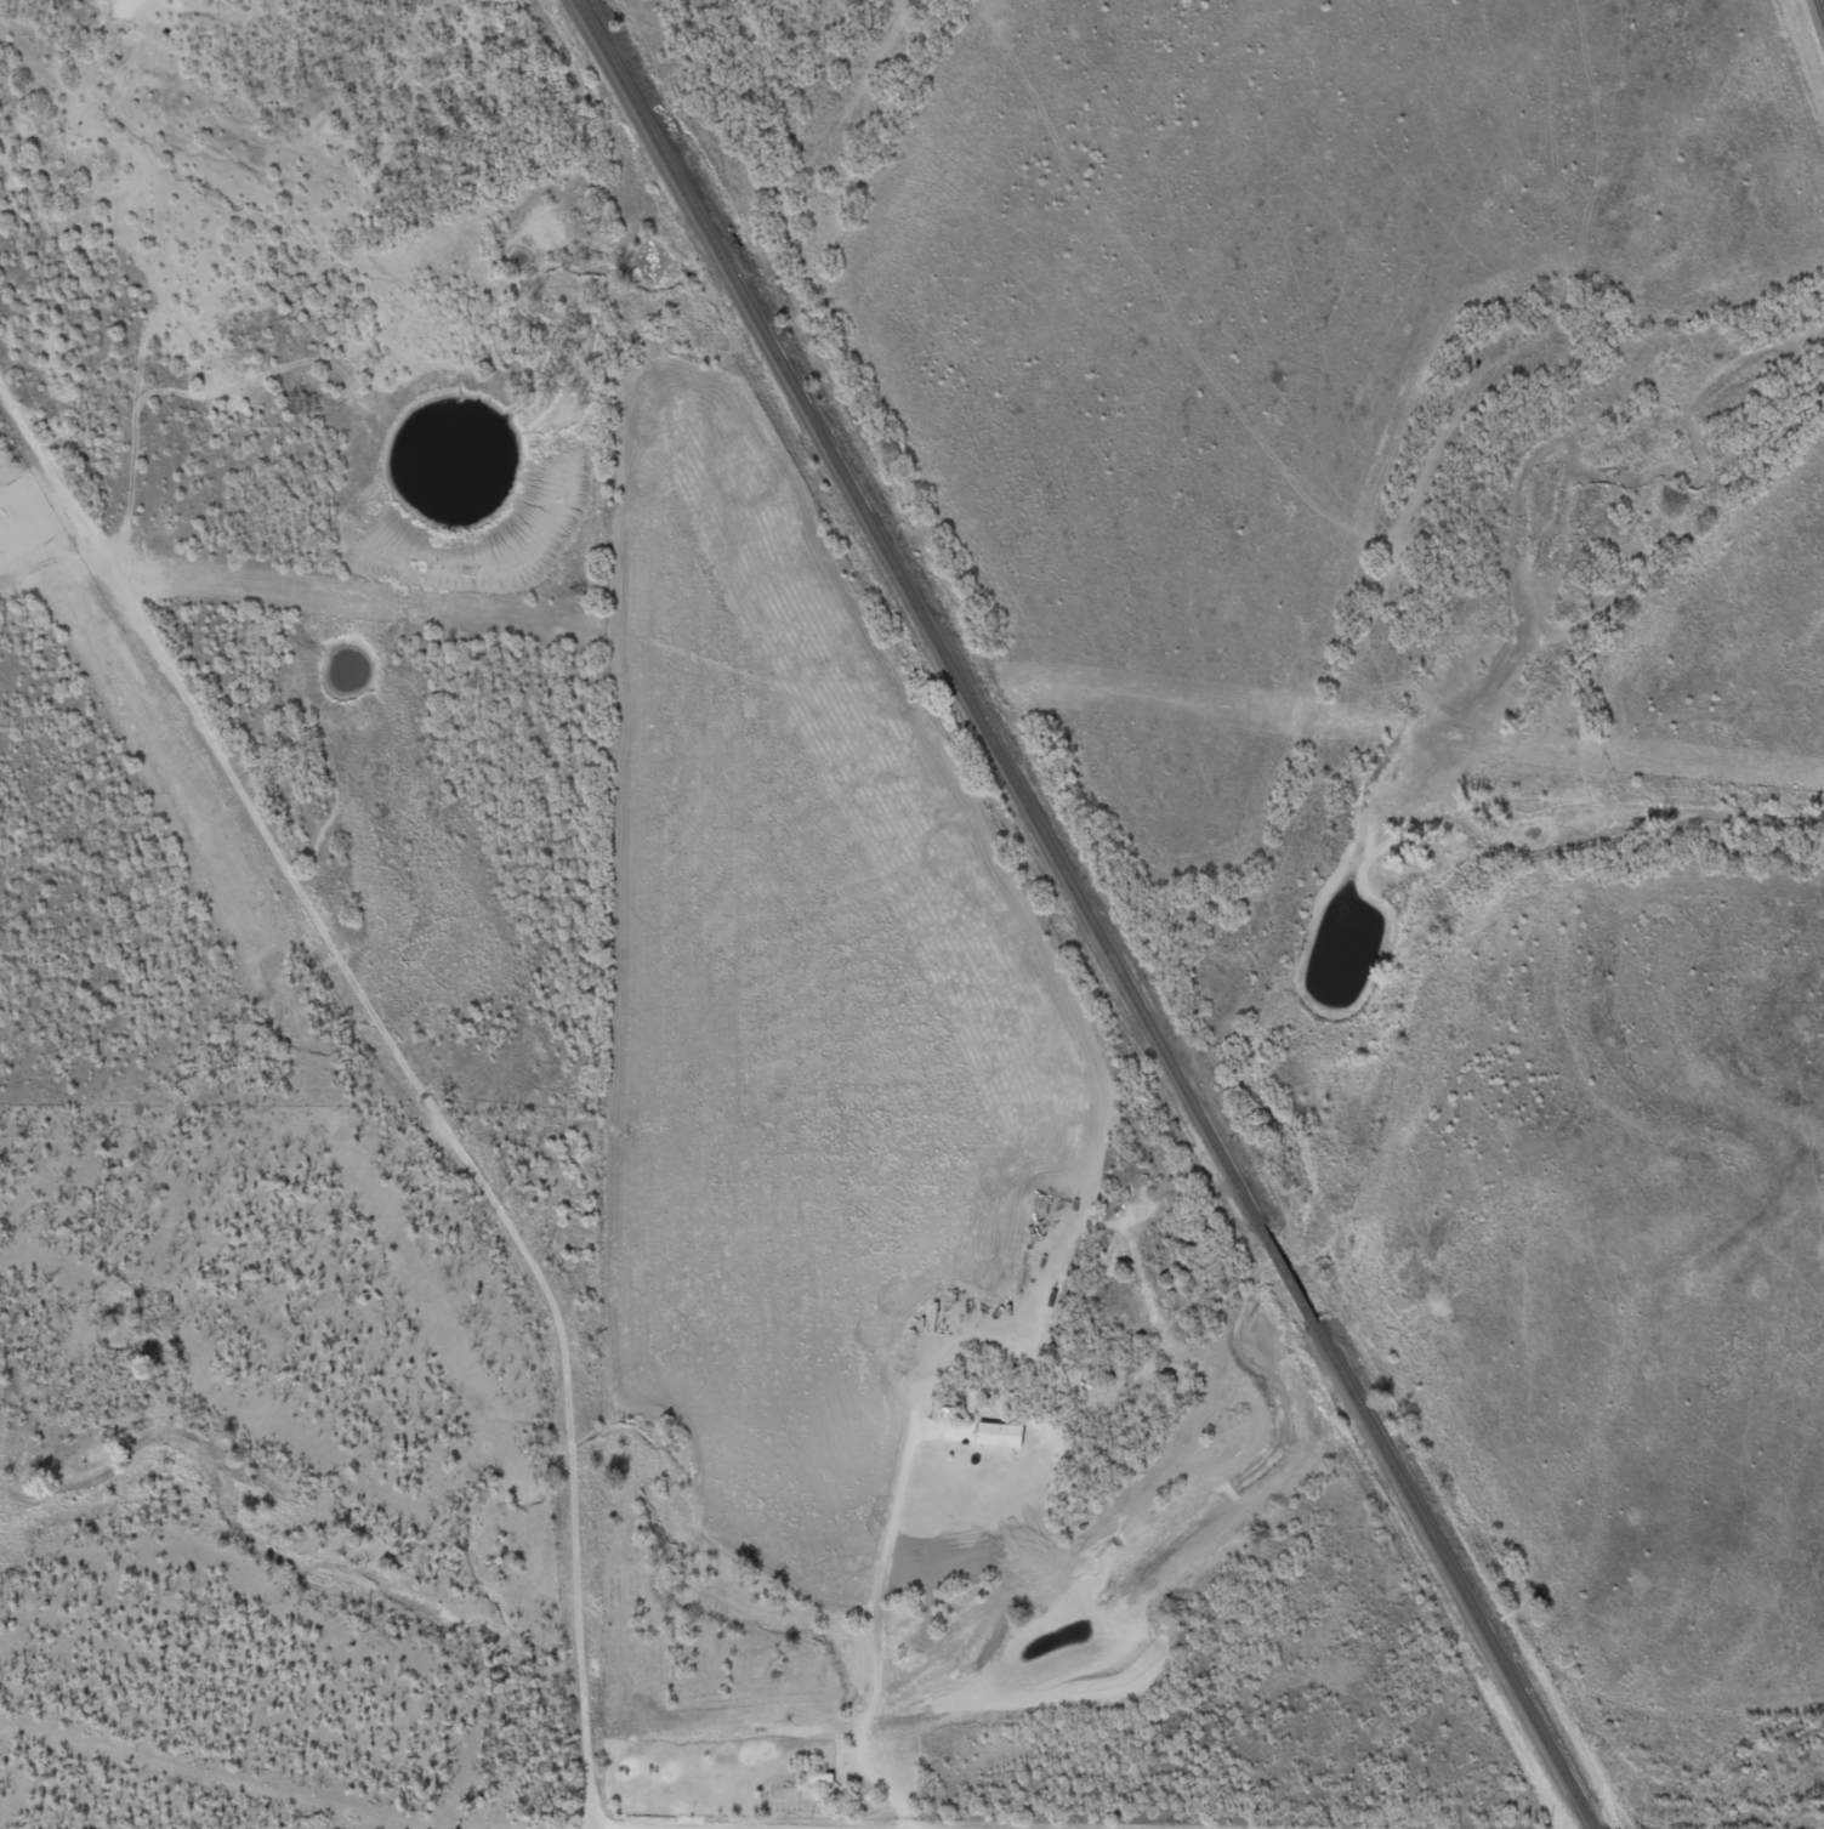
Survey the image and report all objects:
railway: (1083, 914)
road: (381, 1103)
building: (995, 1433)
building: (814, 1778)
road: (117, 1801)

